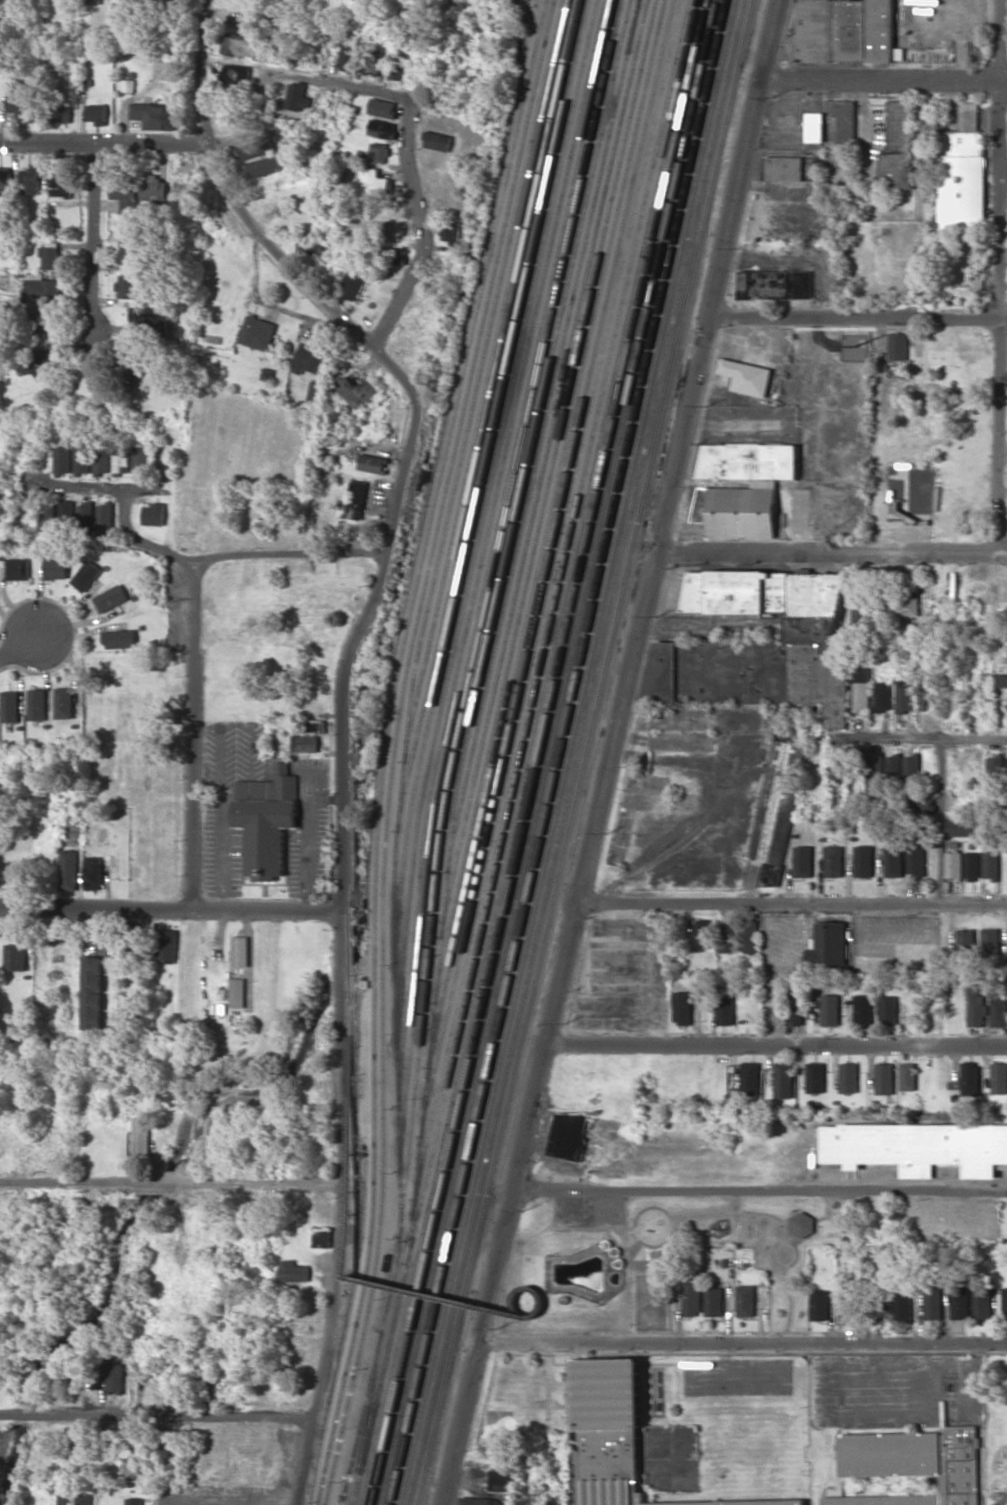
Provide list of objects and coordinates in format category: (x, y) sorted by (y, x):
building: (93, 1)
building: (179, 2)
railway: (534, 6)
building: (844, 30)
building: (239, 44)
building: (978, 49)
building: (347, 56)
building: (373, 59)
building: (397, 65)
building: (236, 72)
road: (287, 73)
road: (883, 79)
building: (297, 95)
building: (20, 101)
building: (382, 107)
building: (96, 113)
building: (969, 114)
building: (64, 115)
building: (155, 115)
building: (845, 120)
building: (816, 127)
building: (383, 129)
road: (102, 137)
building: (437, 141)
building: (898, 146)
building: (256, 147)
building: (379, 153)
building: (264, 166)
building: (784, 168)
building: (5, 175)
building: (962, 180)
building: (30, 181)
building: (61, 181)
building: (375, 182)
building: (153, 187)
building: (184, 188)
building: (125, 195)
road: (421, 228)
building: (451, 231)
road: (90, 233)
building: (129, 254)
building: (390, 254)
building: (50, 257)
road: (998, 275)
building: (352, 284)
building: (775, 284)
building: (127, 286)
building: (36, 287)
road: (856, 316)
building: (43, 324)
building: (257, 332)
building: (897, 346)
building: (308, 356)
building: (42, 362)
building: (130, 369)
building: (746, 376)
railway: (487, 379)
building: (85, 382)
building: (356, 388)
building: (314, 391)
railway: (487, 414)
railway: (541, 435)
building: (62, 458)
building: (82, 459)
building: (101, 459)
building: (120, 459)
building: (139, 459)
building: (371, 463)
railway: (542, 467)
railway: (455, 479)
road: (118, 489)
road: (156, 491)
building: (354, 499)
railway: (544, 500)
building: (735, 504)
building: (65, 509)
building: (153, 513)
building: (85, 514)
building: (46, 516)
building: (105, 518)
railway: (481, 519)
railway: (545, 533)
railway: (482, 549)
road: (831, 549)
road: (288, 551)
road: (175, 554)
building: (56, 567)
railway: (545, 567)
building: (18, 568)
building: (86, 575)
railway: (485, 581)
building: (111, 598)
railway: (547, 598)
building: (907, 604)
railway: (451, 614)
railway: (548, 631)
building: (758, 634)
building: (119, 638)
building: (757, 644)
road: (16, 645)
building: (1002, 680)
building: (861, 688)
building: (883, 696)
building: (904, 696)
building: (922, 700)
building: (65, 702)
building: (37, 704)
building: (10, 706)
road: (339, 709)
building: (313, 726)
road: (192, 735)
road: (922, 739)
building: (304, 742)
railway: (393, 746)
railway: (387, 747)
railway: (463, 747)
railway: (455, 748)
railway: (529, 752)
railway: (538, 752)
railway: (547, 752)
railway: (557, 752)
railway: (567, 752)
railway: (576, 752)
railway: (584, 752)
road: (609, 752)
building: (839, 764)
building: (892, 766)
building: (911, 767)
building: (996, 769)
building: (874, 773)
building: (921, 802)
building: (777, 808)
building: (266, 820)
road: (937, 822)
building: (960, 827)
building: (915, 859)
building: (803, 861)
building: (833, 861)
building: (863, 861)
building: (893, 861)
building: (953, 865)
building: (990, 865)
building: (971, 866)
building: (69, 869)
building: (92, 874)
road: (791, 904)
road: (167, 909)
building: (702, 934)
building: (750, 936)
building: (728, 938)
building: (829, 943)
building: (966, 944)
building: (990, 944)
building: (167, 945)
building: (240, 951)
building: (15, 957)
building: (93, 973)
building: (237, 992)
road: (29, 997)
building: (998, 1005)
building: (682, 1007)
building: (976, 1007)
building: (830, 1009)
building: (863, 1009)
building: (888, 1009)
building: (93, 1010)
building: (726, 1010)
building: (795, 1010)
road: (776, 1045)
building: (908, 1076)
building: (815, 1077)
building: (848, 1077)
building: (750, 1078)
building: (884, 1078)
building: (970, 1078)
building: (999, 1078)
building: (784, 1080)
building: (569, 1134)
building: (141, 1137)
building: (918, 1147)
road: (167, 1182)
road: (760, 1192)
road: (348, 1214)
building: (803, 1224)
building: (873, 1252)
building: (294, 1271)
building: (692, 1299)
road: (180, 1300)
building: (746, 1300)
building: (714, 1301)
building: (960, 1302)
building: (1004, 1302)
building: (933, 1303)
building: (982, 1303)
building: (819, 1304)
building: (881, 1306)
building: (903, 1307)
building: (844, 1309)
road: (520, 1322)
road: (742, 1341)
building: (115, 1377)
building: (209, 1384)
railway: (372, 1398)
road: (156, 1416)
building: (620, 1436)
building: (915, 1464)
building: (500, 1479)
building: (75, 1499)
building: (134, 1501)
building: (479, 1501)

